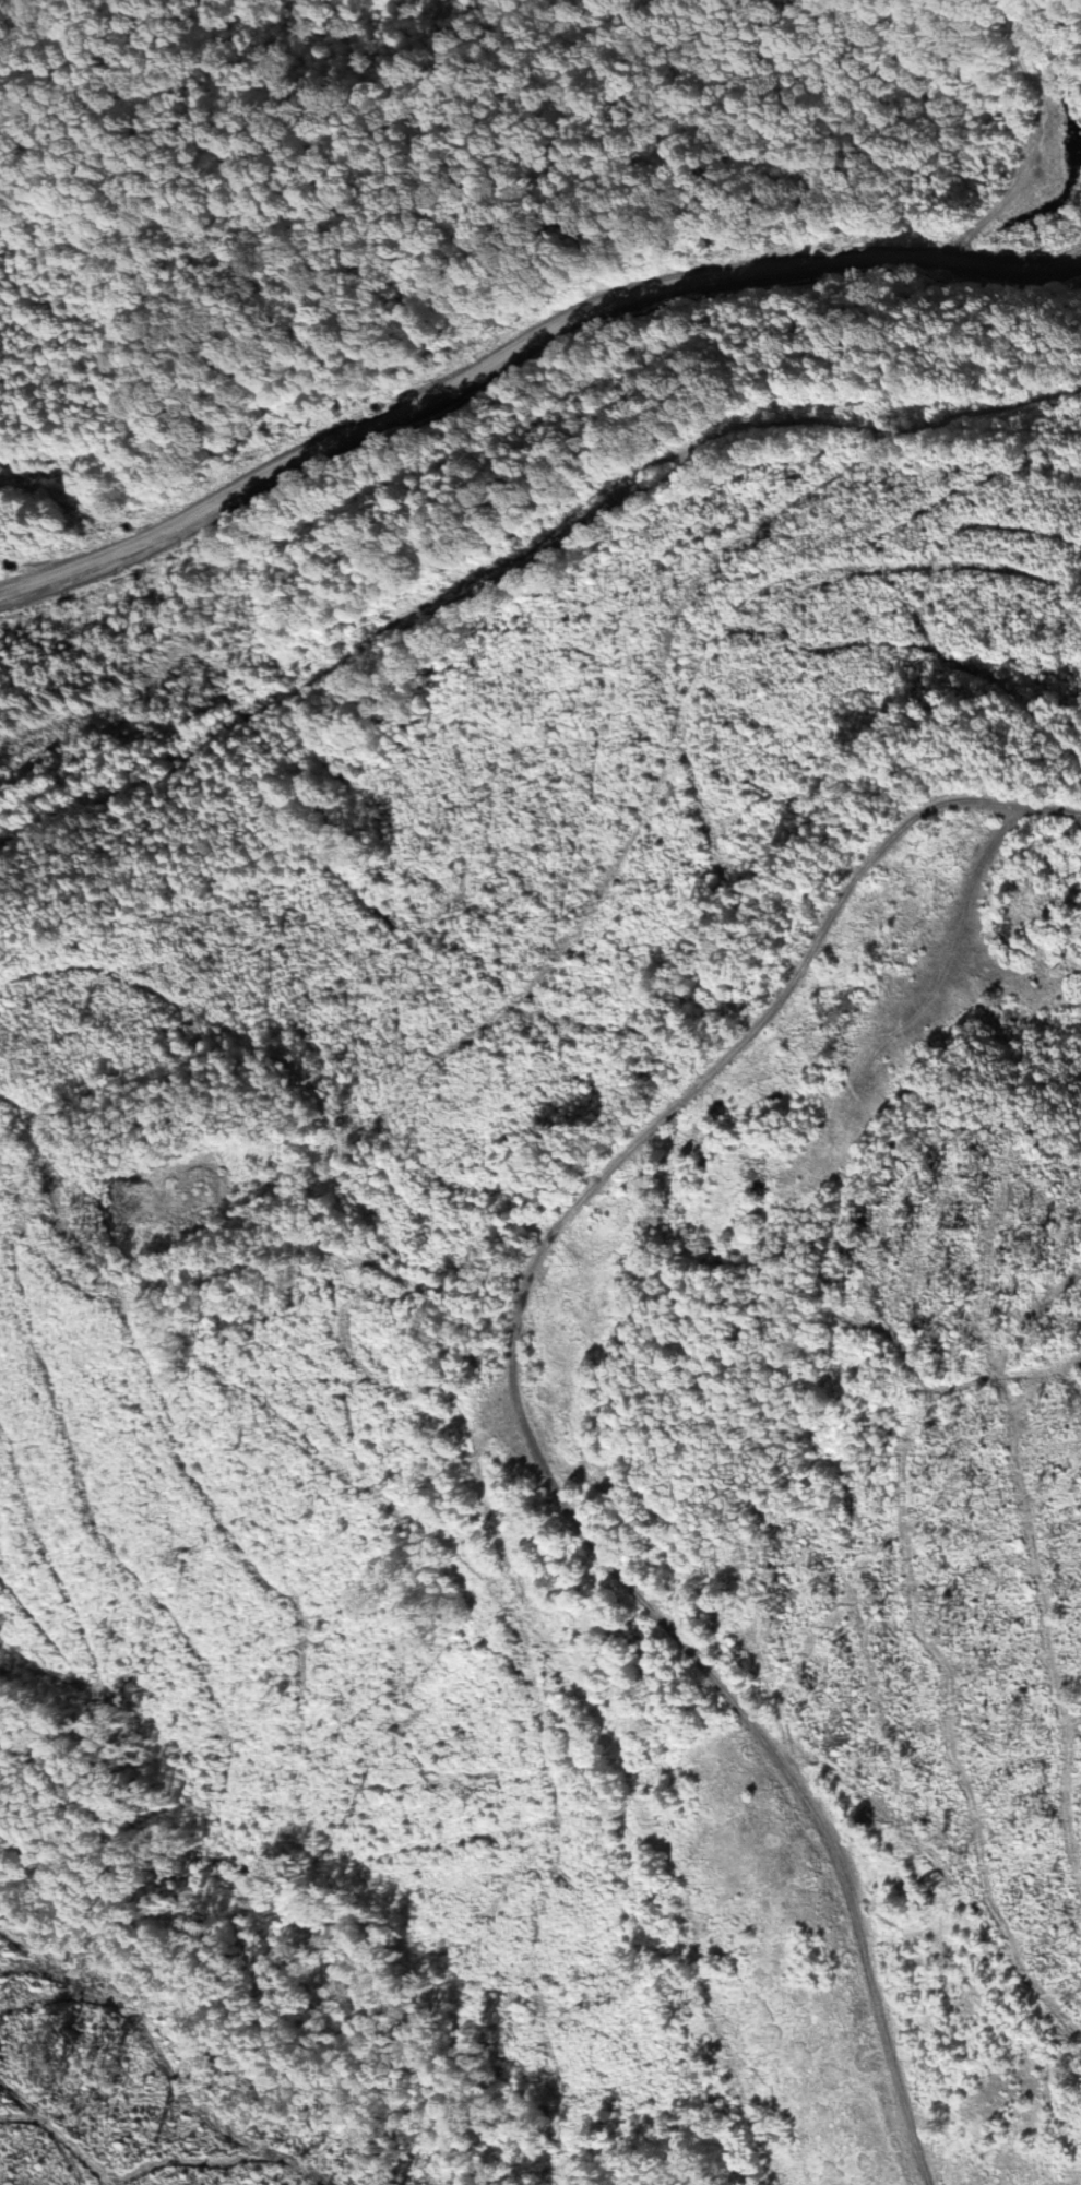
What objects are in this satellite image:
road: (528, 414)
road: (546, 947)
road: (684, 1005)
road: (687, 1249)

